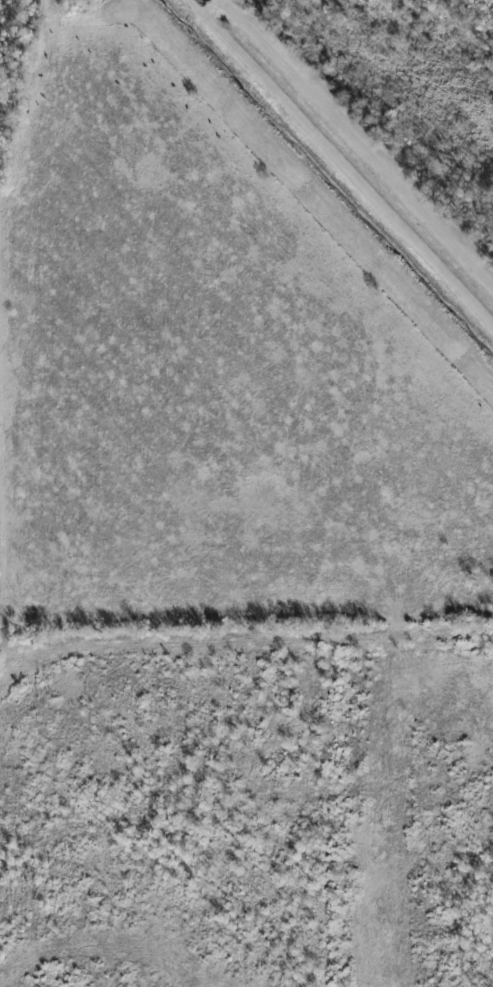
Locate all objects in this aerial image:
road: (357, 142)
road: (246, 651)

